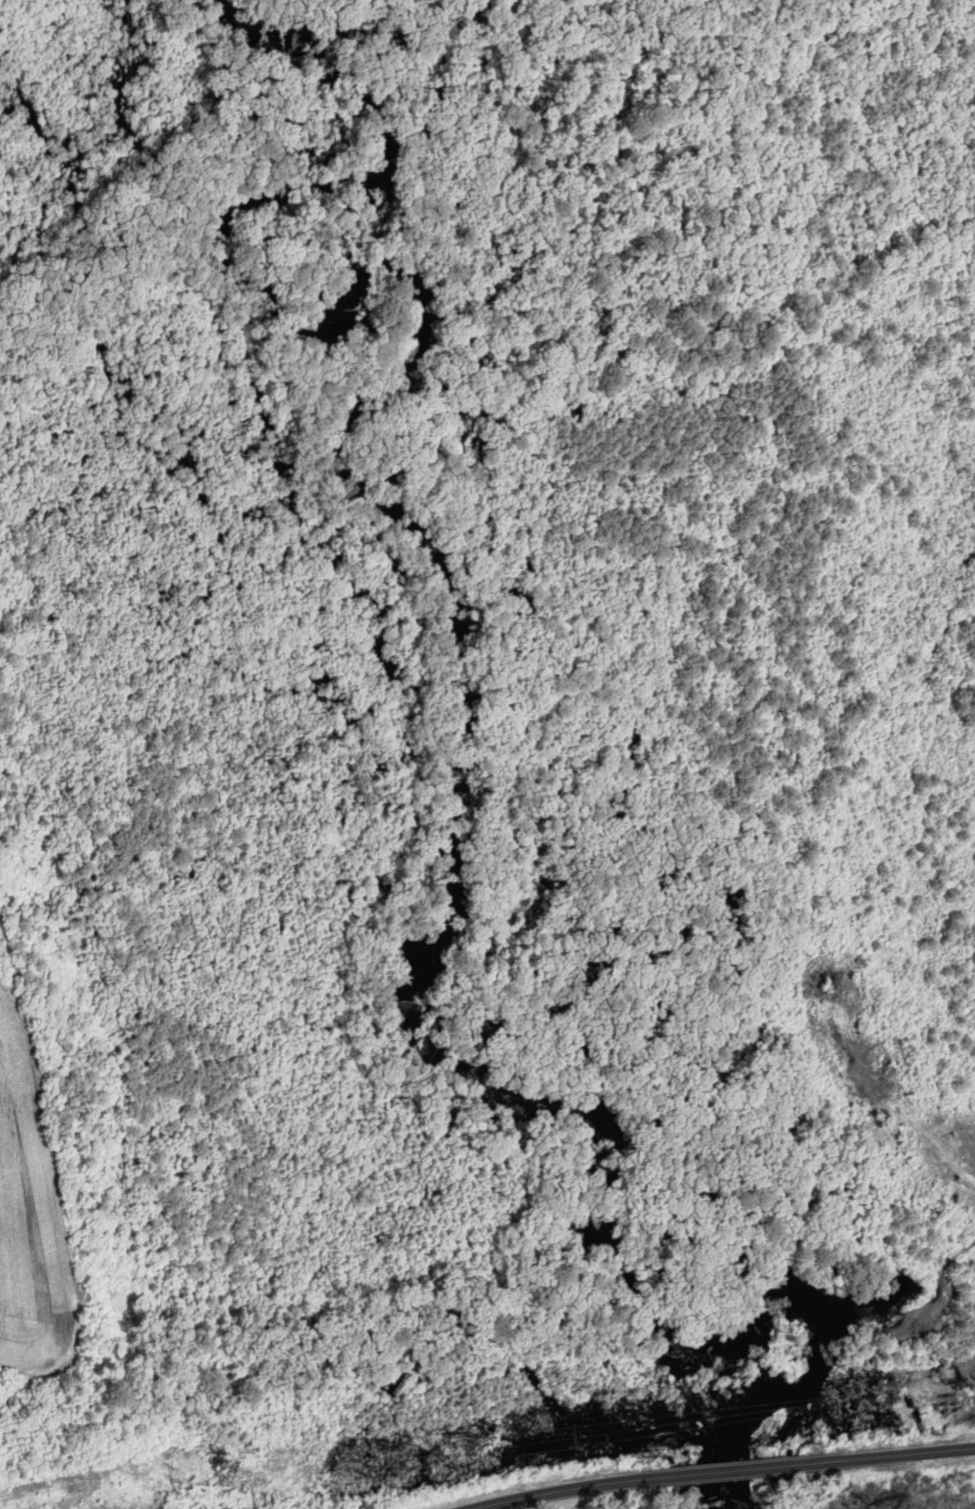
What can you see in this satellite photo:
river: (465, 730)
power tower: (881, 1336)
power tower: (570, 1436)
road: (892, 1455)
road: (733, 1470)
power tower: (179, 1488)
road: (565, 1489)

